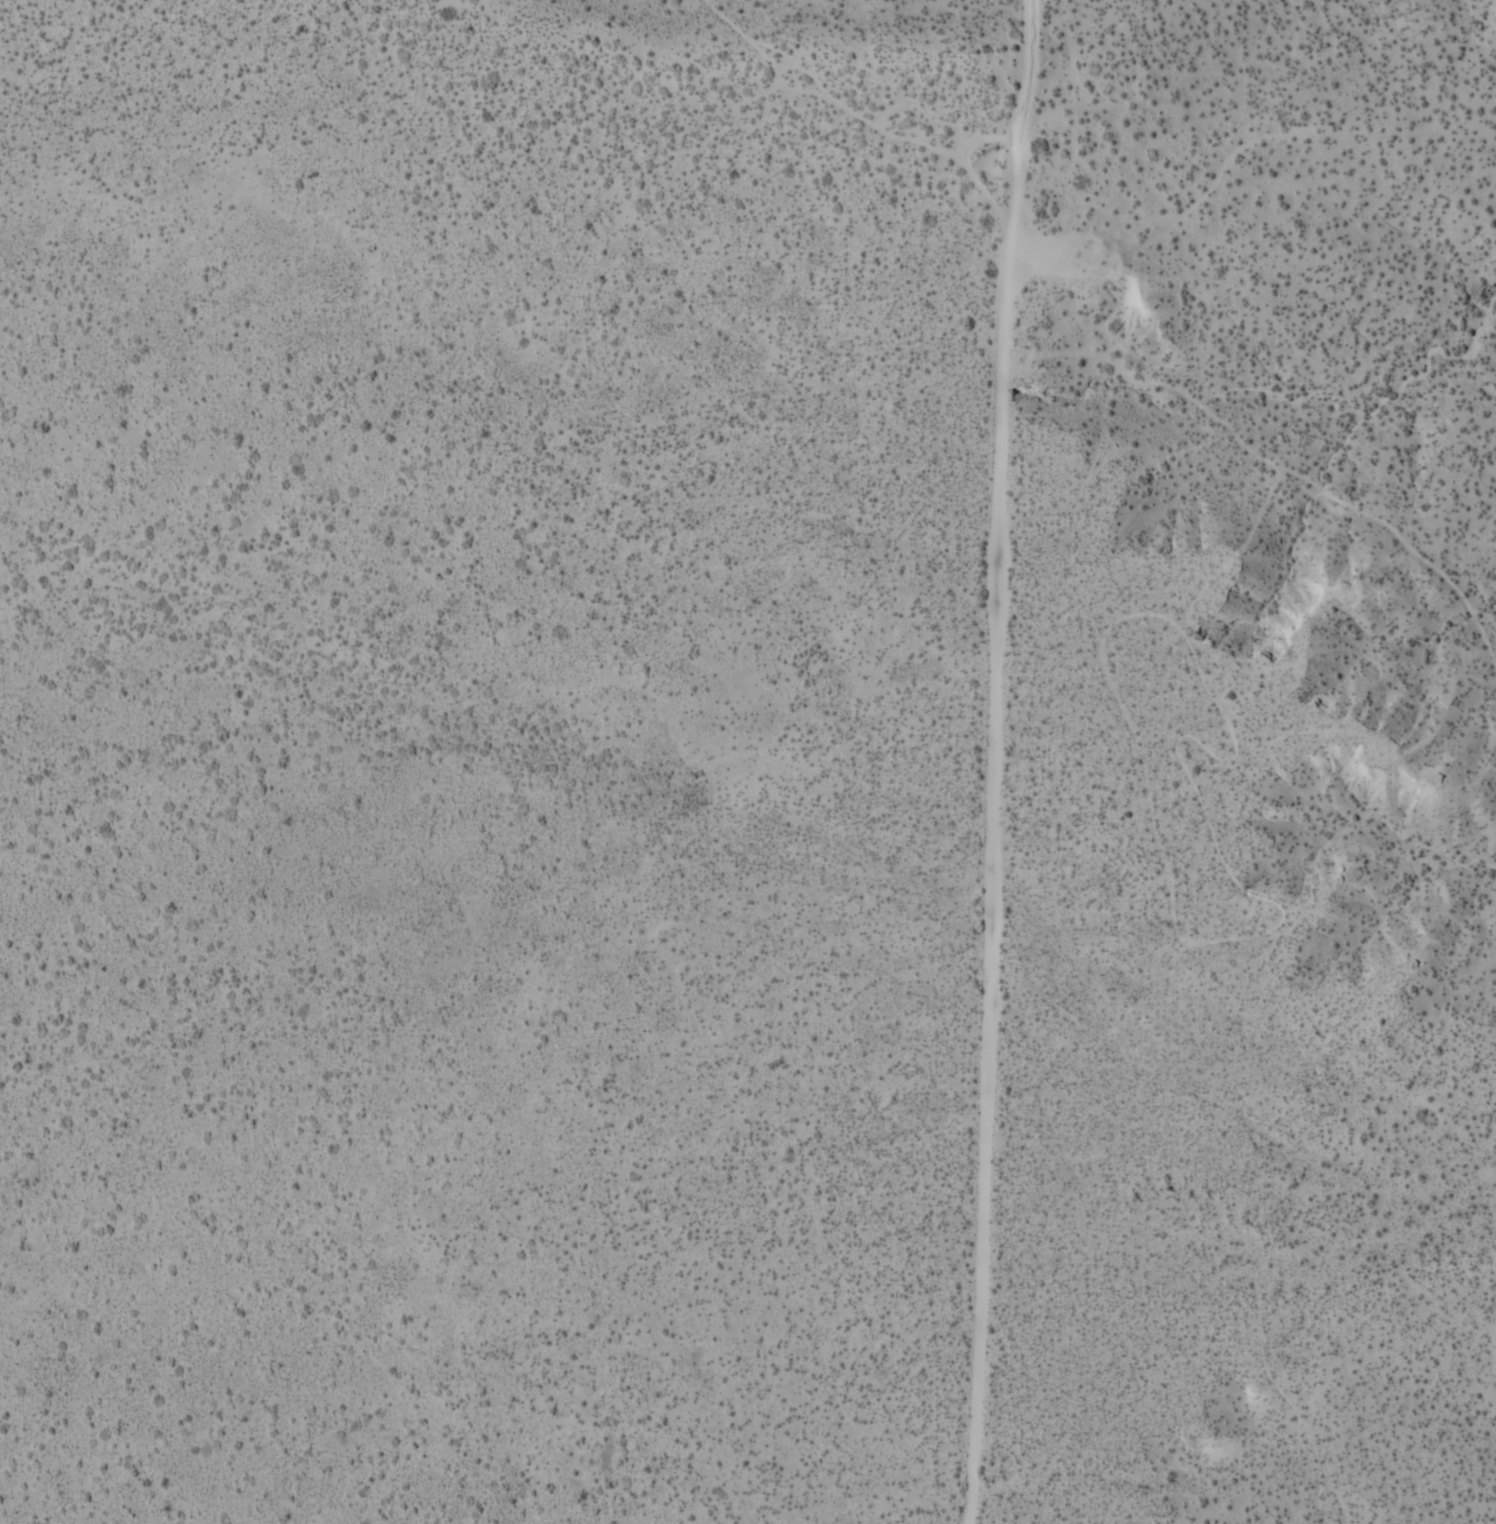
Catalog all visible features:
road: (1229, 151)
parking lot: (1064, 260)
road: (990, 761)

